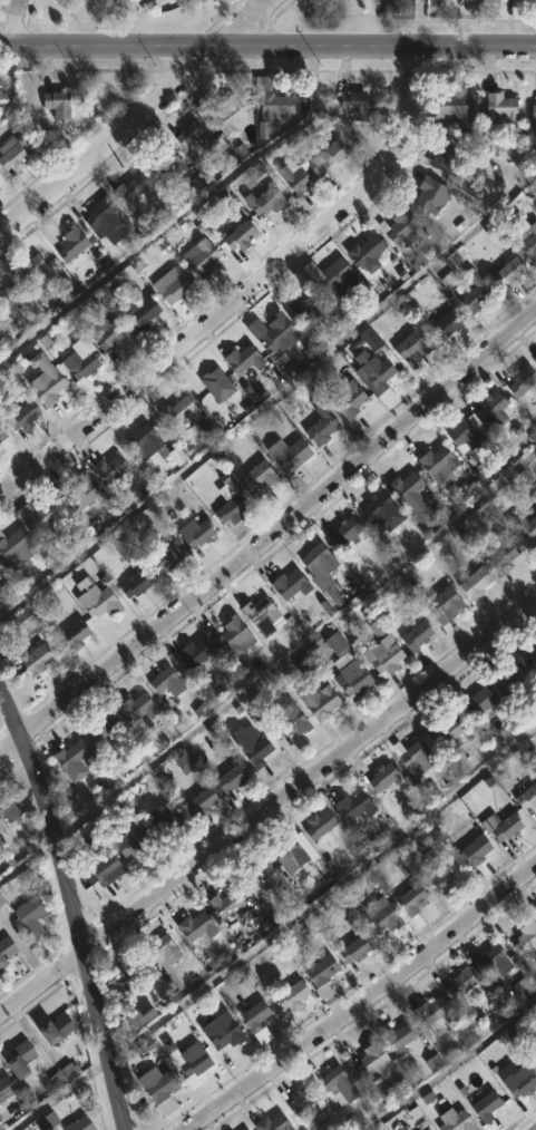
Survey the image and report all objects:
building: (369, 0)
road: (16, 22)
road: (417, 25)
road: (267, 46)
building: (270, 99)
building: (447, 103)
building: (60, 104)
building: (351, 105)
building: (496, 108)
building: (532, 110)
building: (218, 115)
road: (135, 117)
building: (191, 138)
building: (333, 148)
building: (14, 154)
building: (441, 159)
building: (163, 167)
building: (295, 176)
building: (131, 188)
building: (428, 194)
building: (261, 201)
building: (106, 220)
building: (398, 230)
building: (236, 235)
building: (527, 241)
building: (75, 243)
building: (362, 254)
building: (198, 259)
building: (38, 273)
building: (505, 274)
building: (331, 279)
building: (172, 288)
road: (244, 293)
building: (469, 293)
building: (11, 298)
building: (301, 303)
building: (140, 316)
building: (445, 323)
building: (269, 331)
building: (116, 333)
building: (409, 344)
building: (238, 360)
building: (534, 360)
building: (87, 371)
building: (519, 380)
building: (203, 382)
building: (379, 382)
building: (52, 387)
building: (343, 399)
building: (490, 408)
building: (175, 411)
building: (27, 417)
building: (316, 427)
building: (466, 431)
building: (3, 435)
building: (150, 447)
building: (285, 454)
building: (435, 466)
building: (108, 468)
building: (254, 479)
building: (401, 486)
building: (81, 491)
building: (372, 506)
building: (227, 509)
building: (43, 516)
building: (522, 529)
building: (342, 530)
building: (193, 533)
road: (271, 534)
building: (16, 545)
building: (499, 555)
building: (165, 556)
building: (314, 559)
building: (1, 574)
building: (137, 582)
building: (471, 583)
building: (285, 585)
building: (330, 592)
building: (152, 594)
building: (101, 602)
building: (439, 605)
building: (257, 617)
building: (22, 623)
building: (373, 624)
building: (412, 636)
building: (76, 637)
building: (231, 637)
building: (191, 653)
building: (380, 656)
building: (534, 656)
building: (40, 660)
building: (304, 666)
building: (344, 669)
building: (504, 680)
building: (165, 683)
building: (315, 701)
building: (475, 703)
building: (133, 708)
building: (286, 720)
building: (99, 727)
building: (446, 732)
building: (255, 751)
building: (416, 756)
building: (70, 759)
building: (182, 761)
building: (227, 777)
building: (379, 777)
building: (526, 796)
building: (197, 801)
building: (9, 807)
building: (350, 807)
road: (271, 809)
building: (160, 819)
building: (315, 825)
building: (503, 826)
building: (131, 840)
building: (470, 850)
building: (286, 851)
building: (104, 869)
building: (257, 877)
building: (444, 877)
road: (325, 892)
building: (2, 898)
building: (221, 903)
building: (409, 903)
road: (74, 907)
building: (534, 910)
building: (33, 915)
building: (377, 916)
building: (193, 926)
building: (524, 938)
building: (351, 947)
building: (159, 948)
building: (7, 949)
building: (491, 959)
building: (319, 974)
building: (128, 977)
building: (458, 982)
building: (522, 988)
building: (289, 995)
road: (364, 1001)
building: (428, 1011)
building: (252, 1015)
building: (139, 1017)
building: (59, 1027)
building: (215, 1027)
building: (393, 1039)
building: (530, 1052)
building: (25, 1058)
building: (188, 1059)
building: (368, 1061)
road: (448, 1063)
building: (65, 1075)
building: (516, 1080)
building: (334, 1084)
building: (158, 1085)
building: (7, 1088)
building: (301, 1101)
building: (486, 1107)
building: (450, 1119)
building: (48, 1120)
building: (82, 1123)
building: (269, 1123)
building: (241, 1129)
building: (423, 1129)
building: (427, 1129)

